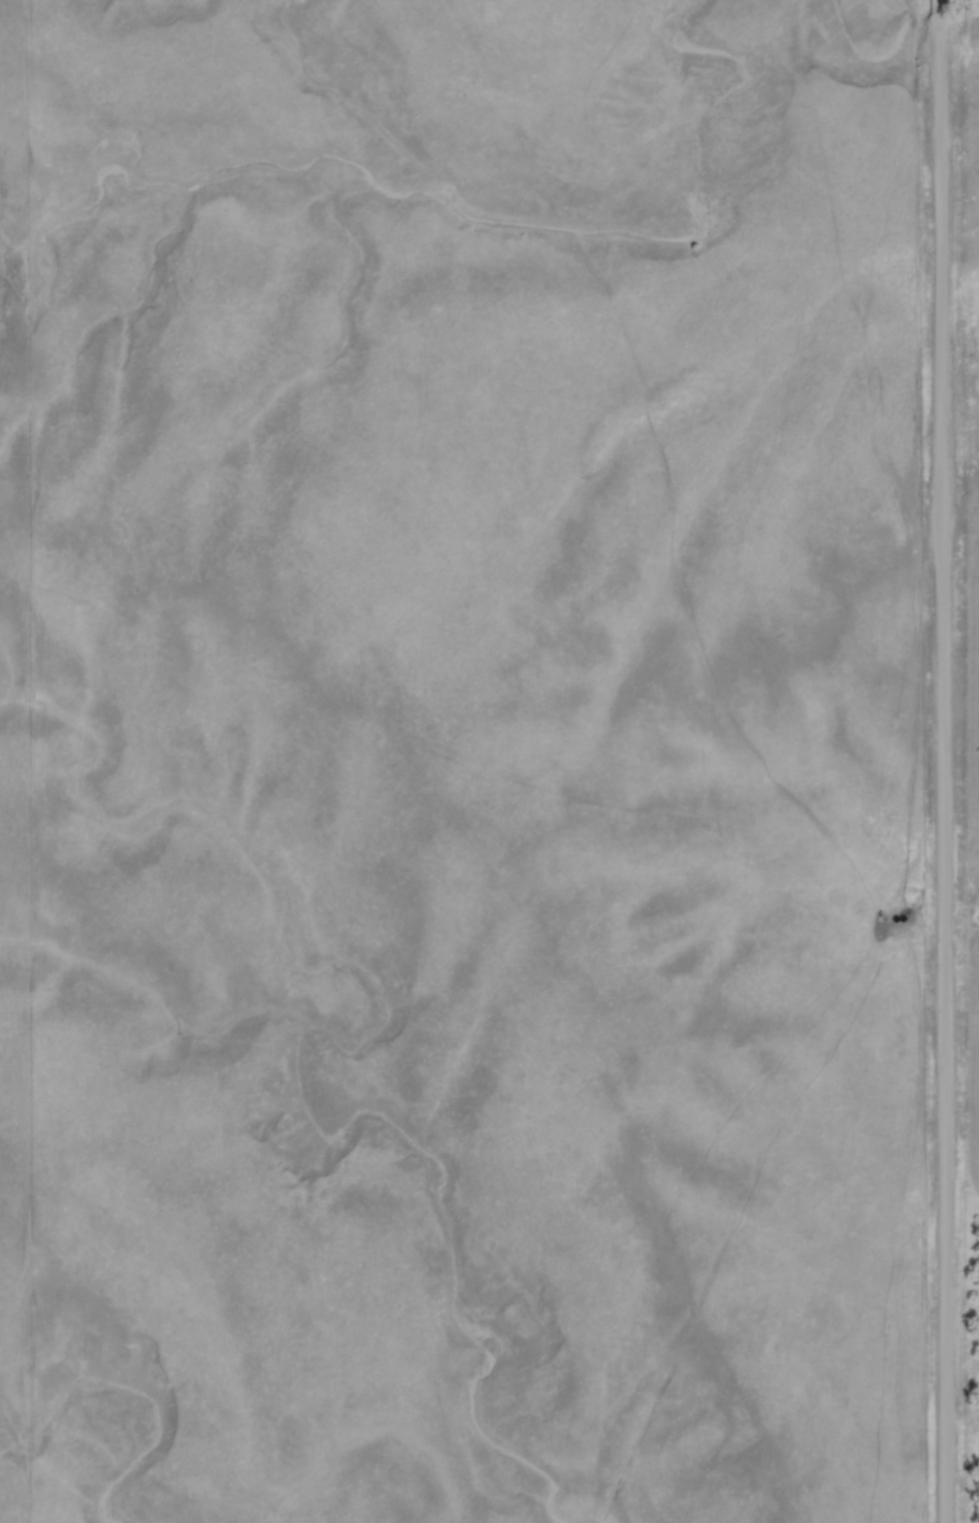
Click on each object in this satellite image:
road: (946, 761)

